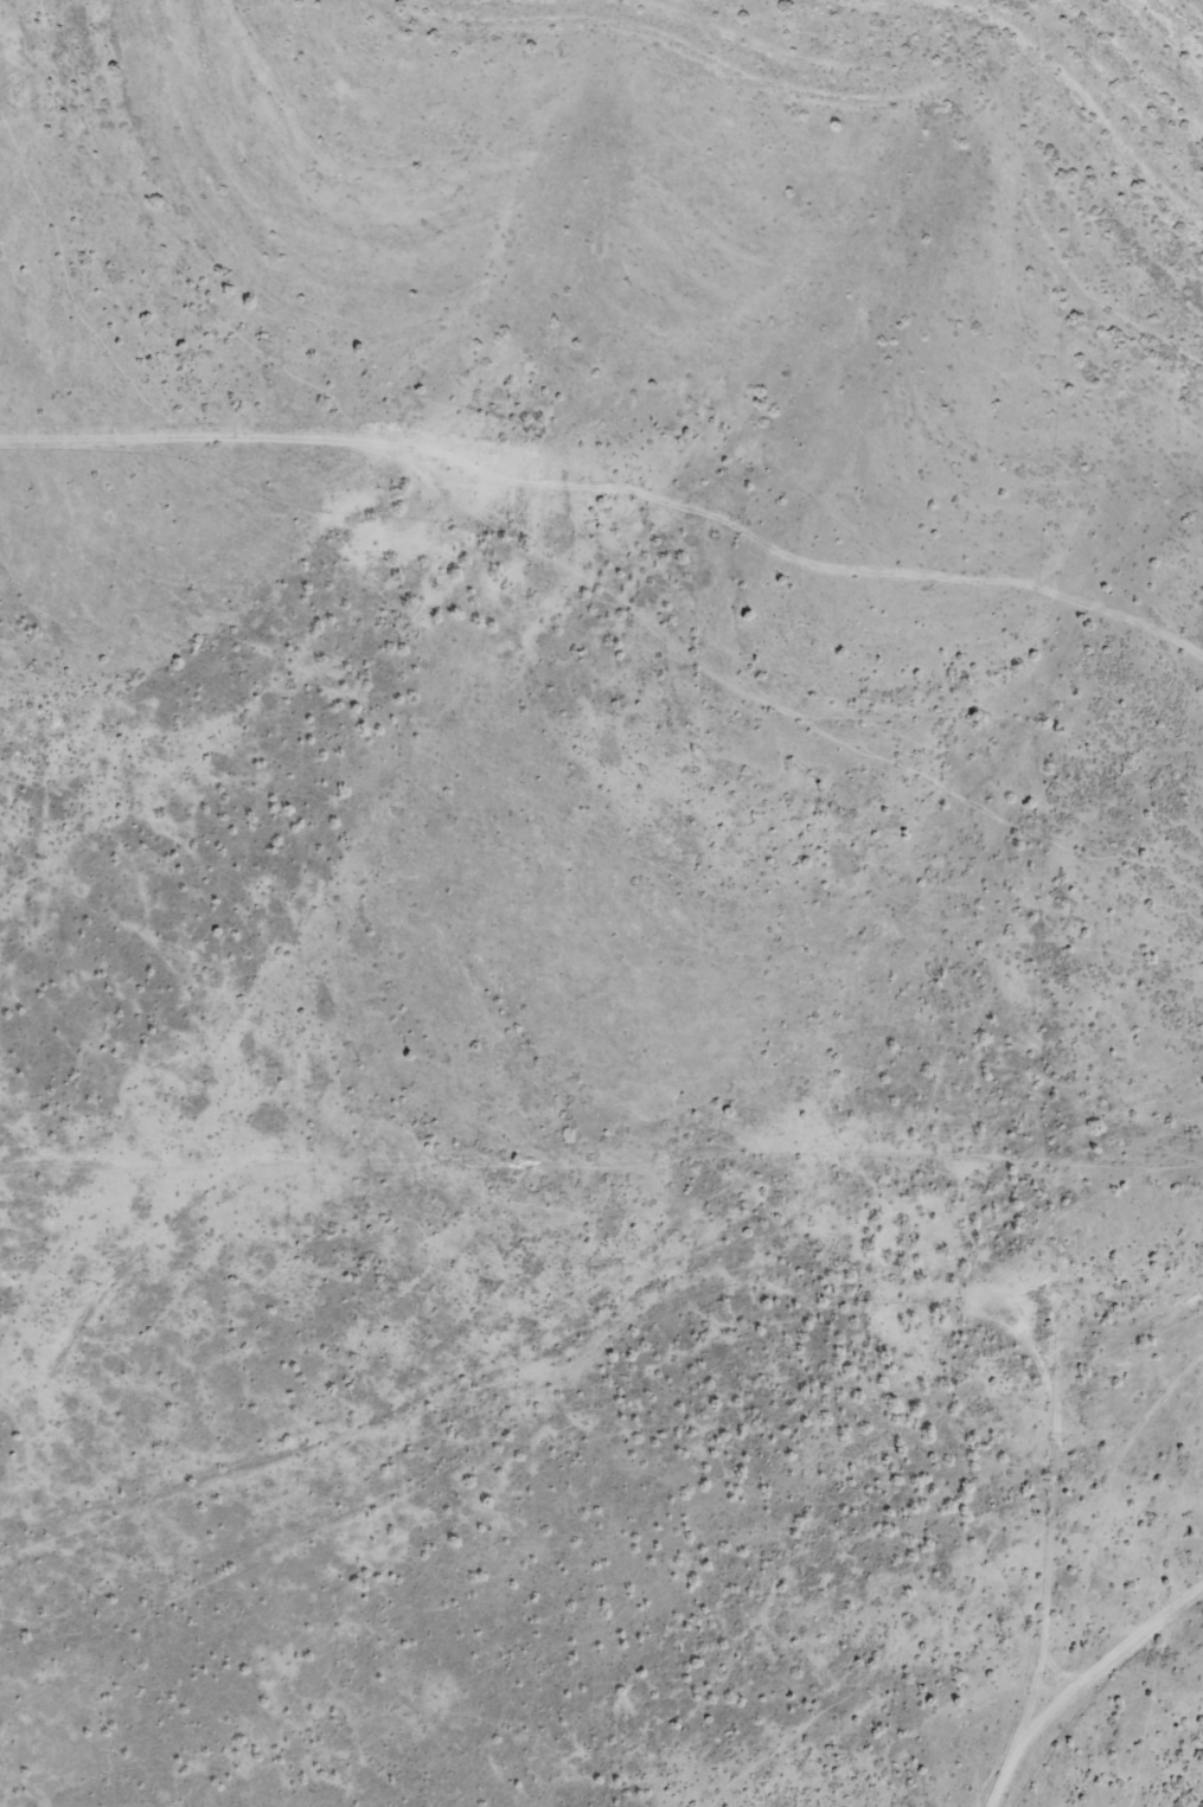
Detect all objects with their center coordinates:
road: (603, 1190)
road: (84, 1294)
road: (1116, 1523)

